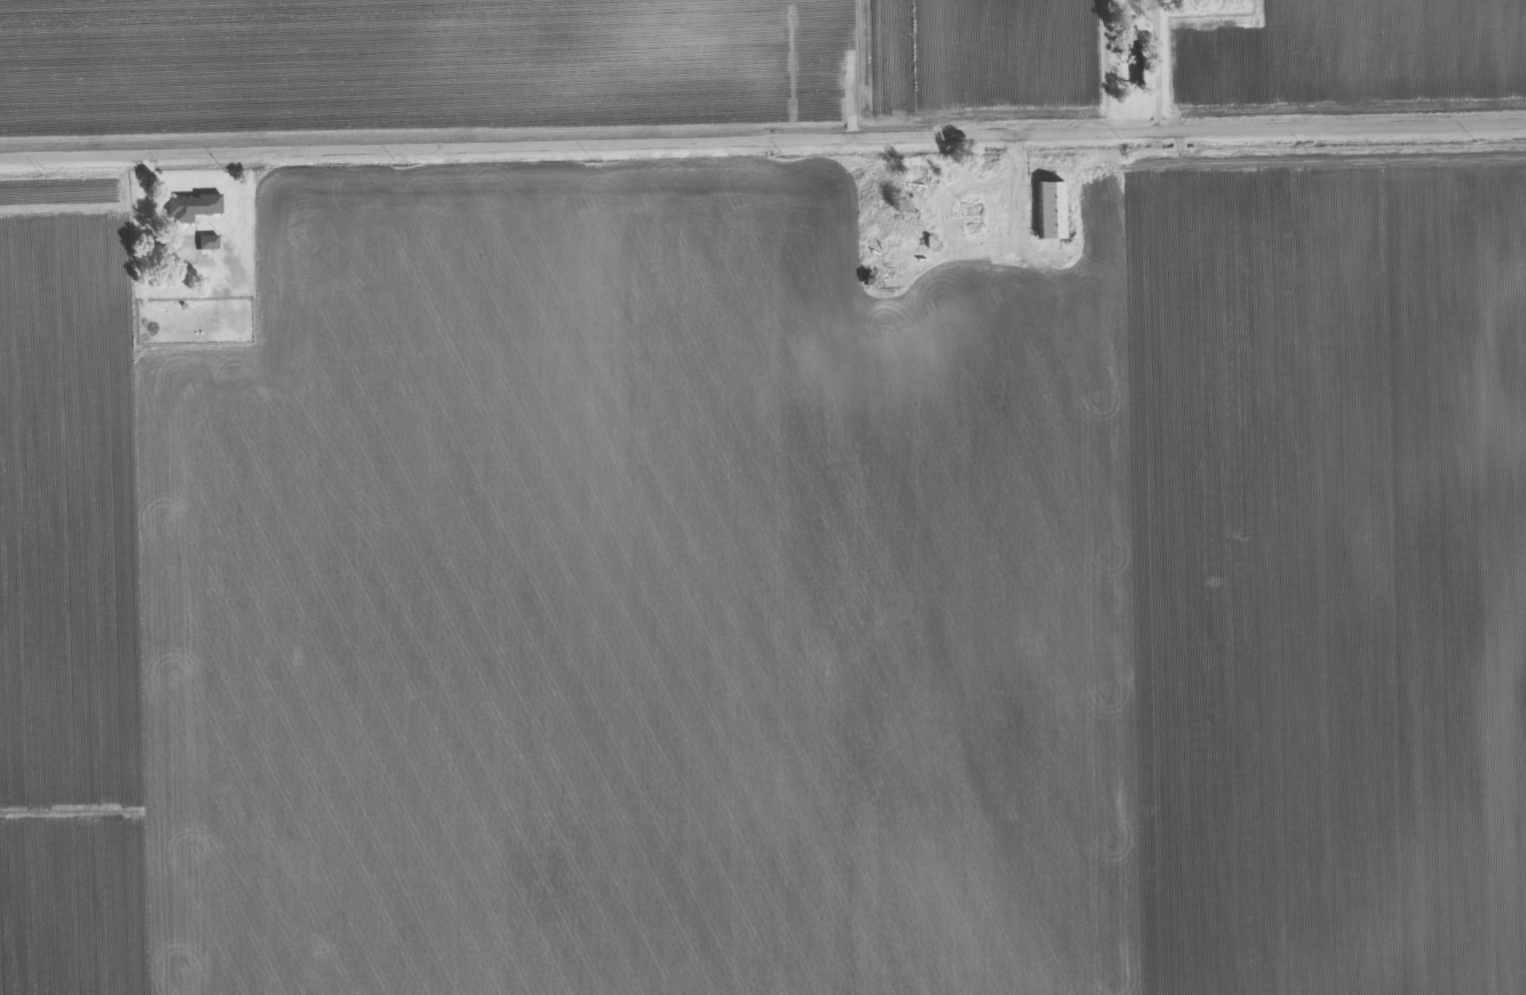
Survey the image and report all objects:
road: (1160, 64)
road: (844, 108)
road: (763, 142)
road: (933, 178)
building: (194, 208)
road: (145, 210)
building: (1053, 211)
building: (211, 241)

